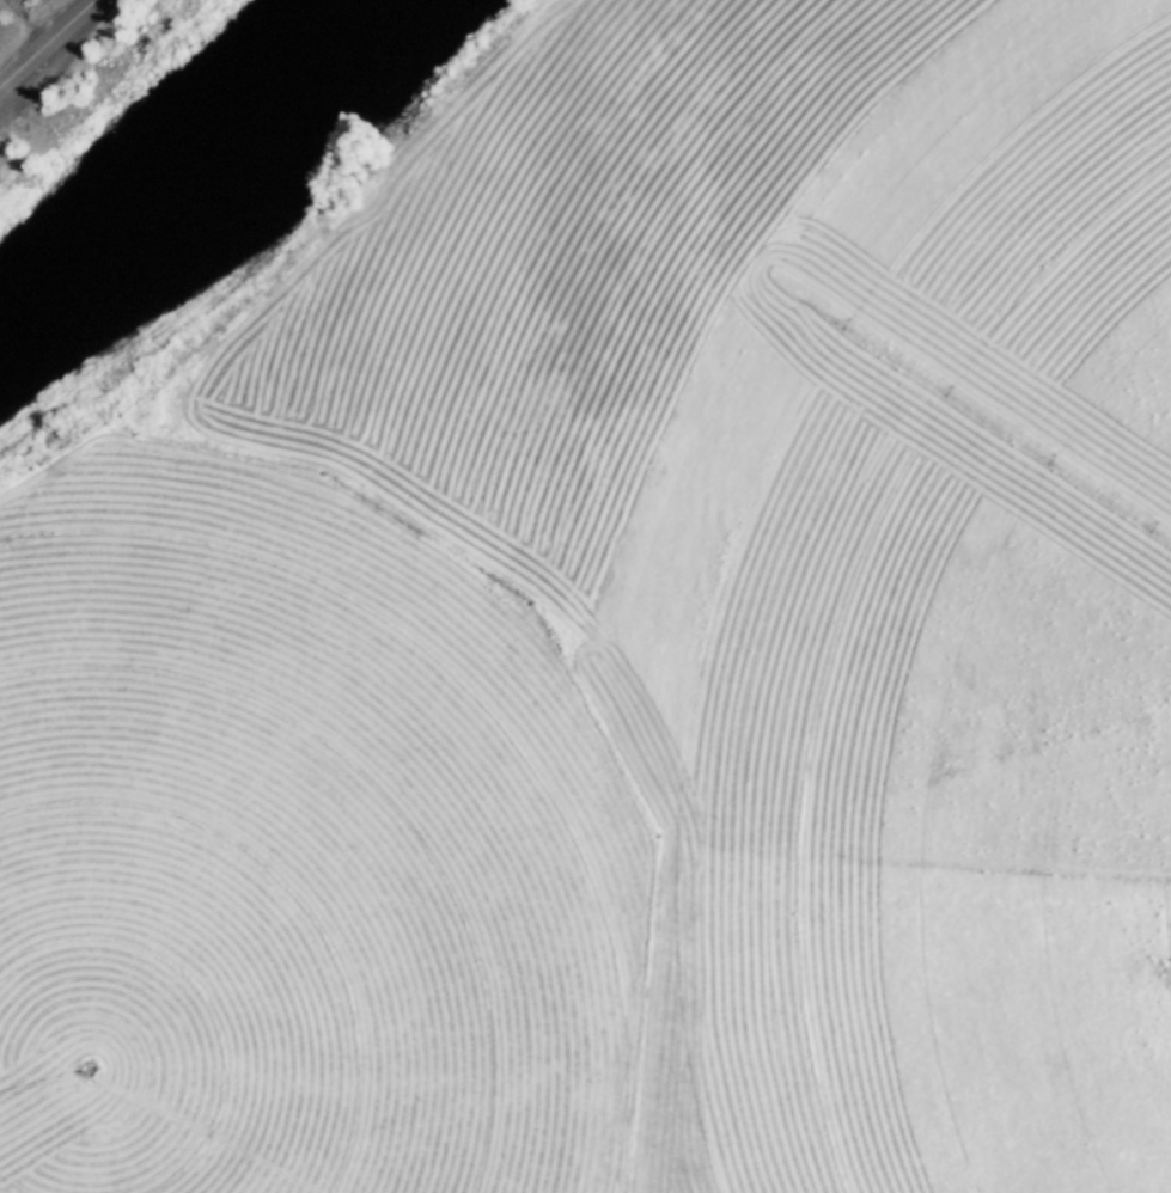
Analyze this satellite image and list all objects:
road: (51, 48)
river: (187, 164)

